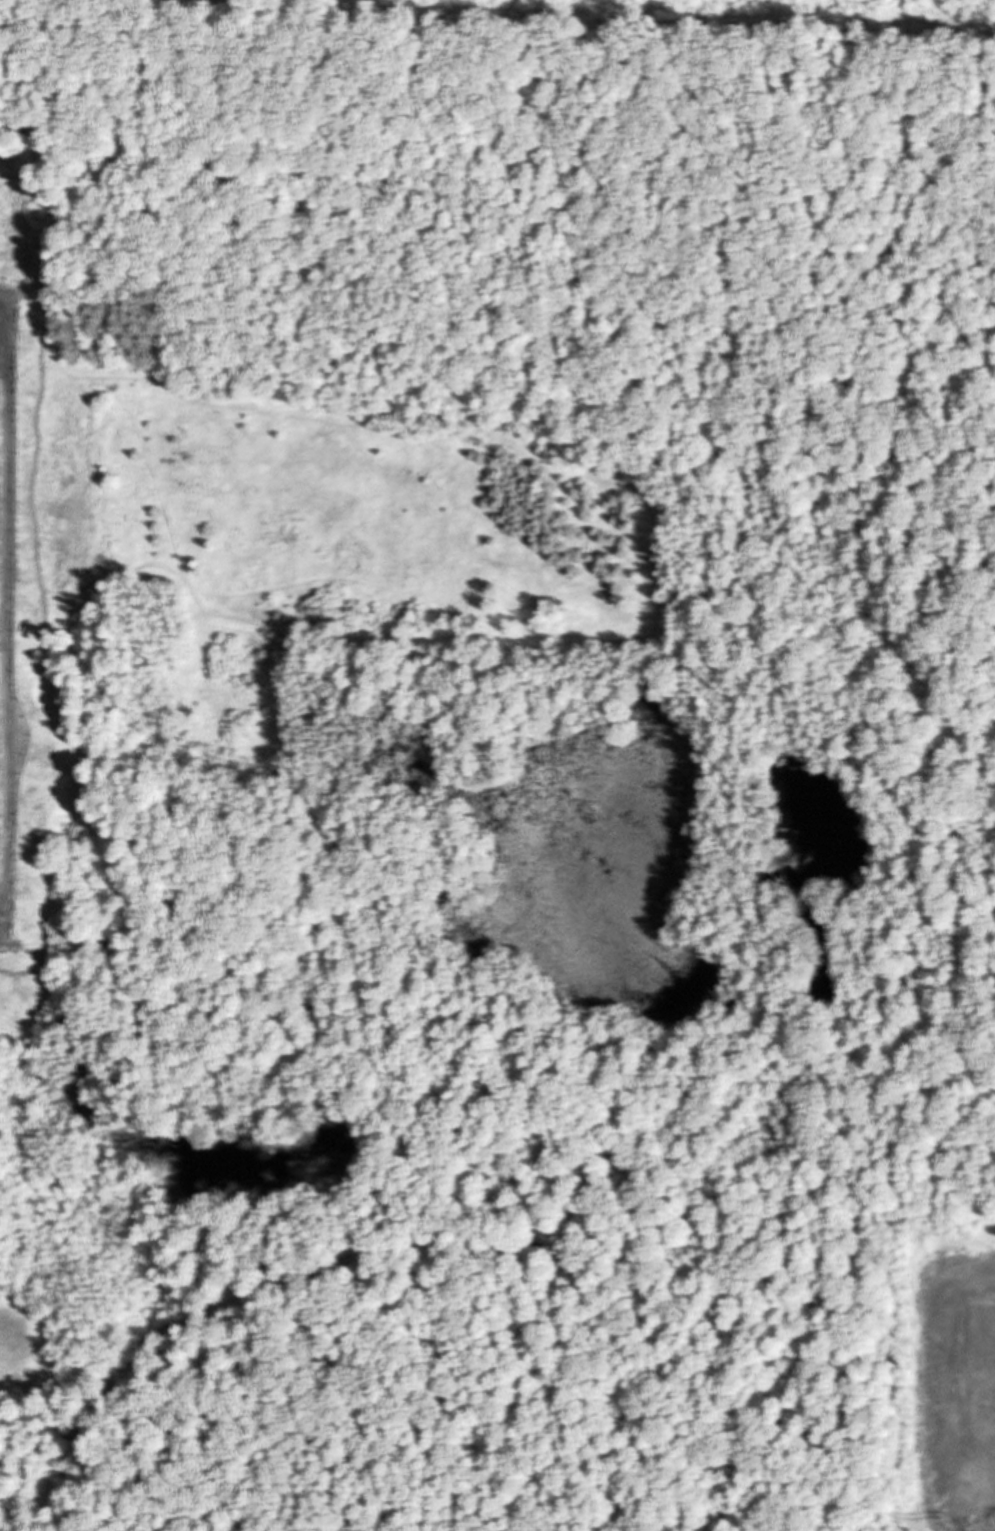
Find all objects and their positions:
road: (699, 397)
road: (8, 618)
landfill: (496, 769)

